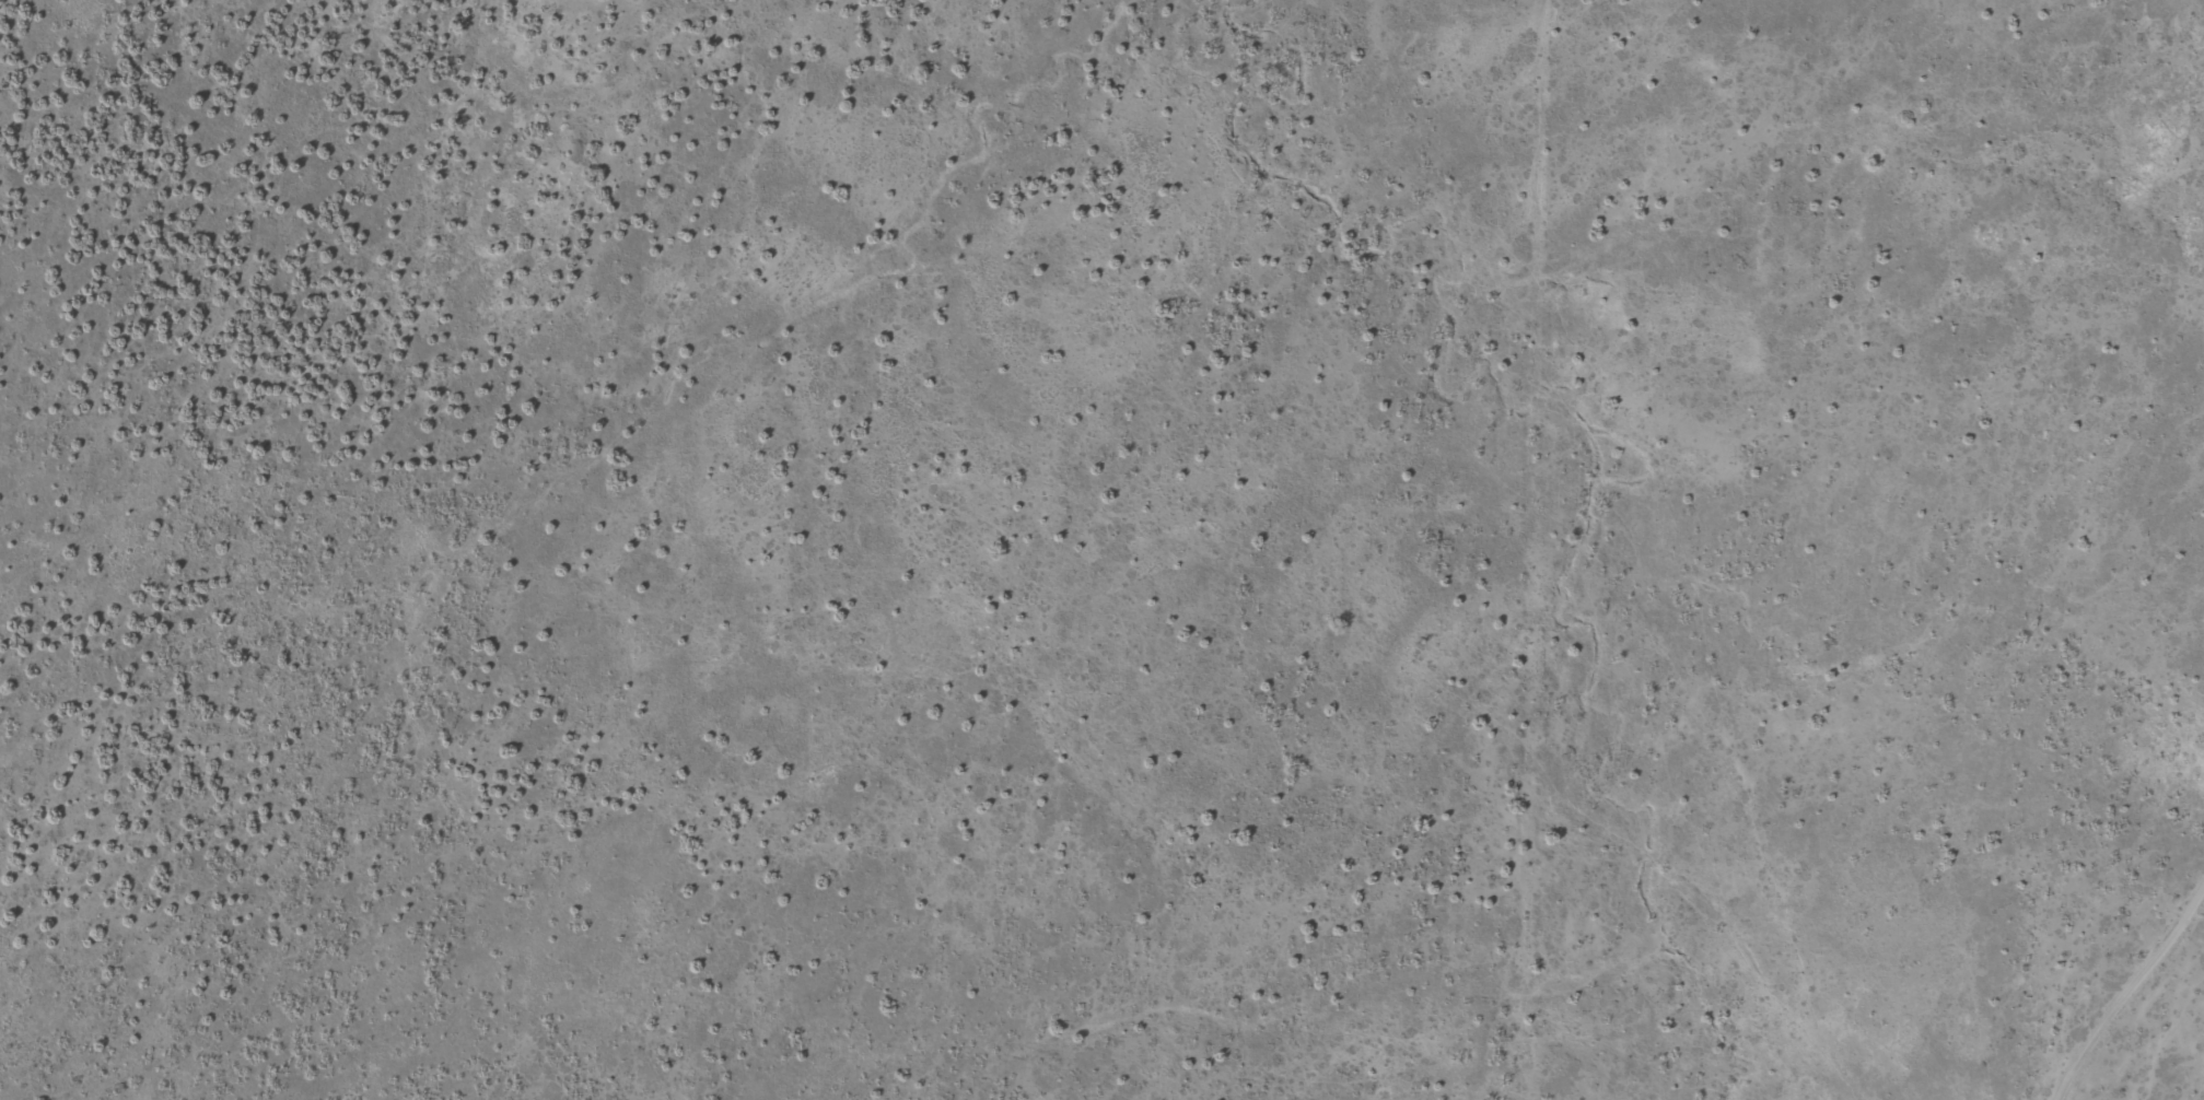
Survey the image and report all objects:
road: (2141, 1018)

